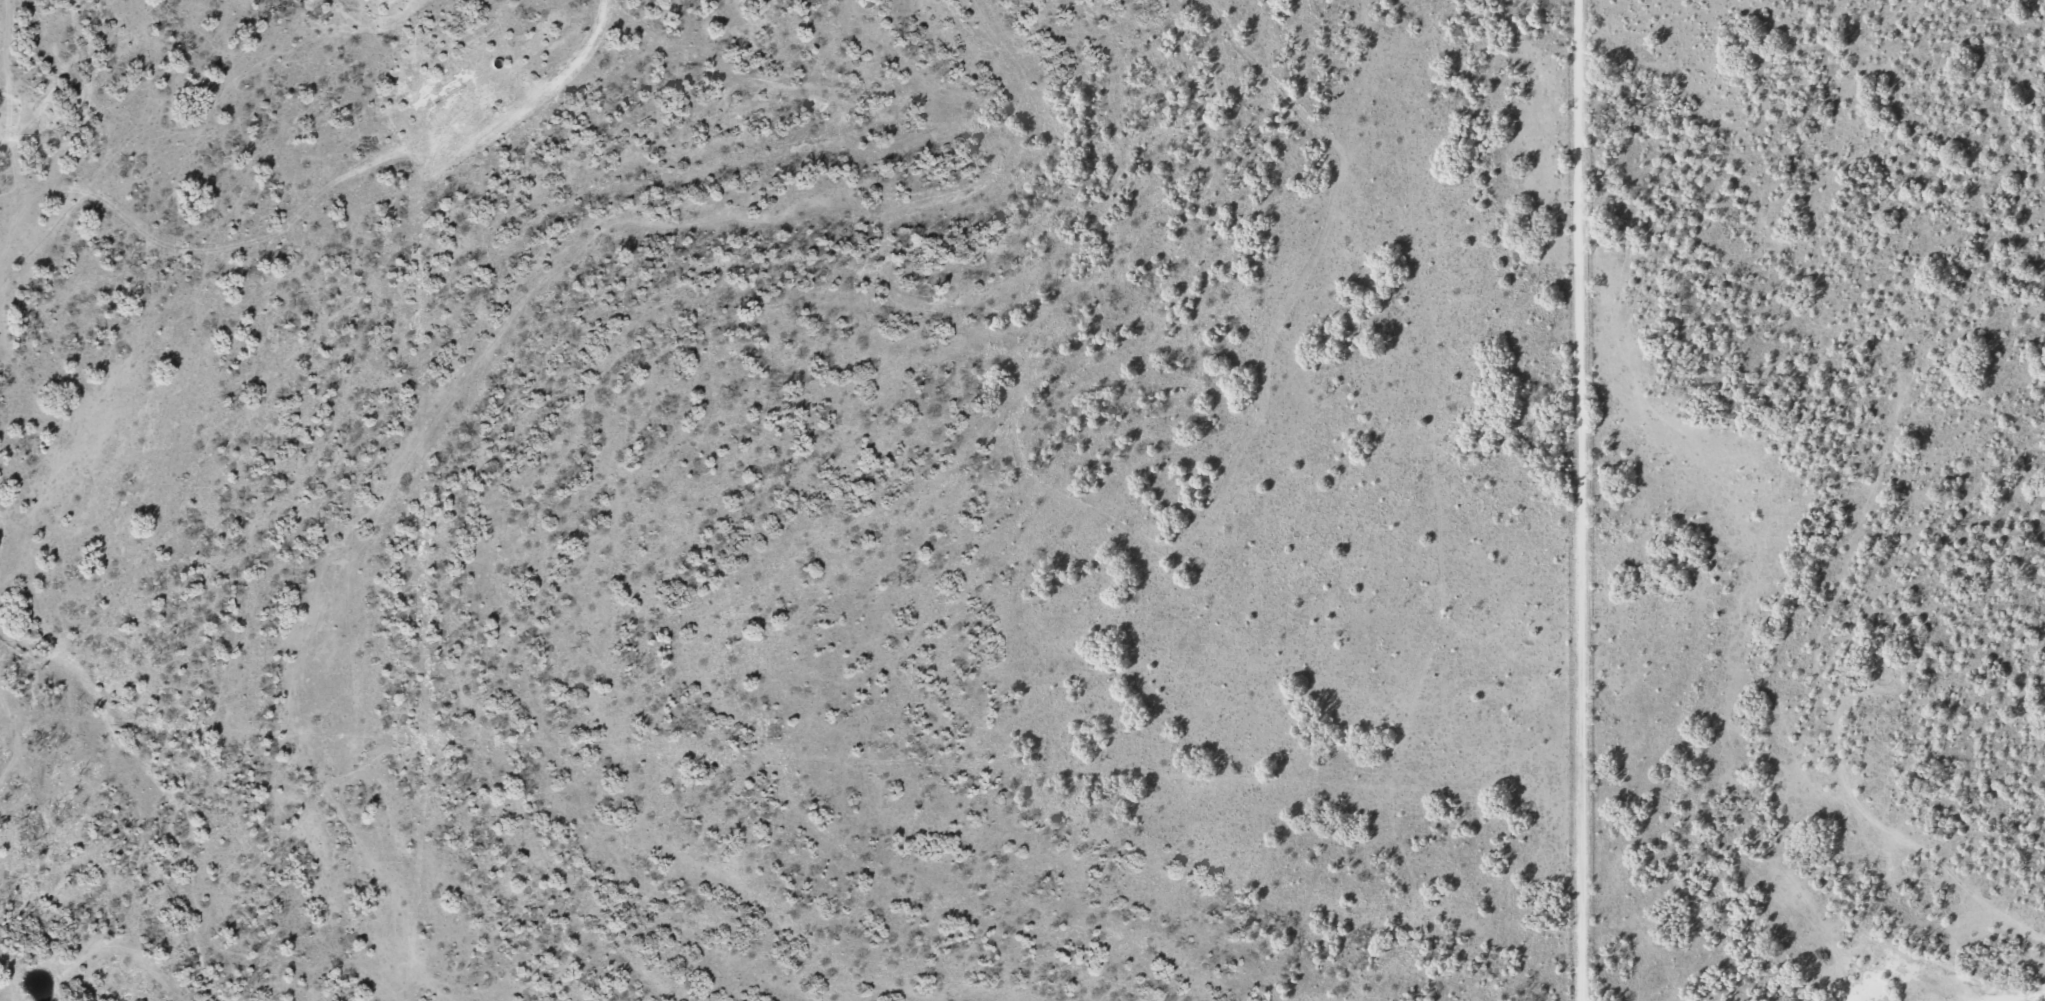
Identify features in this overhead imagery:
road: (1548, 500)

